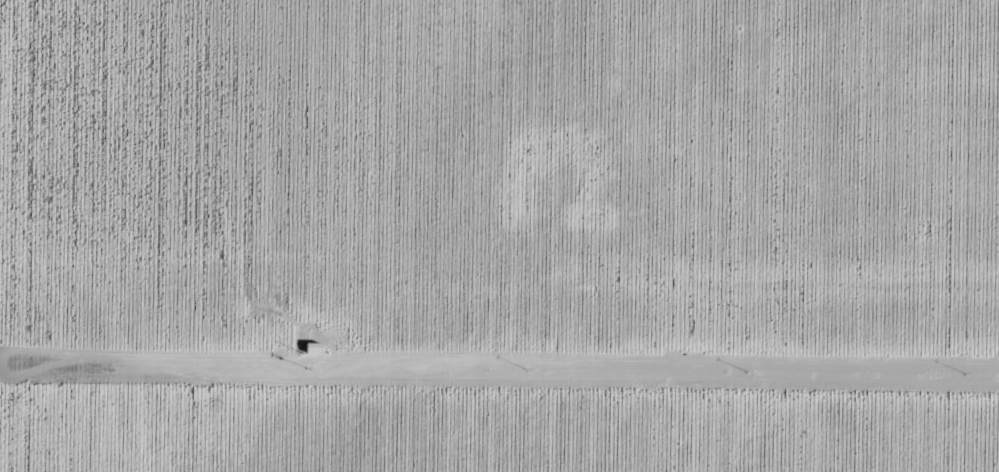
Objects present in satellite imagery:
road: (562, 280)

